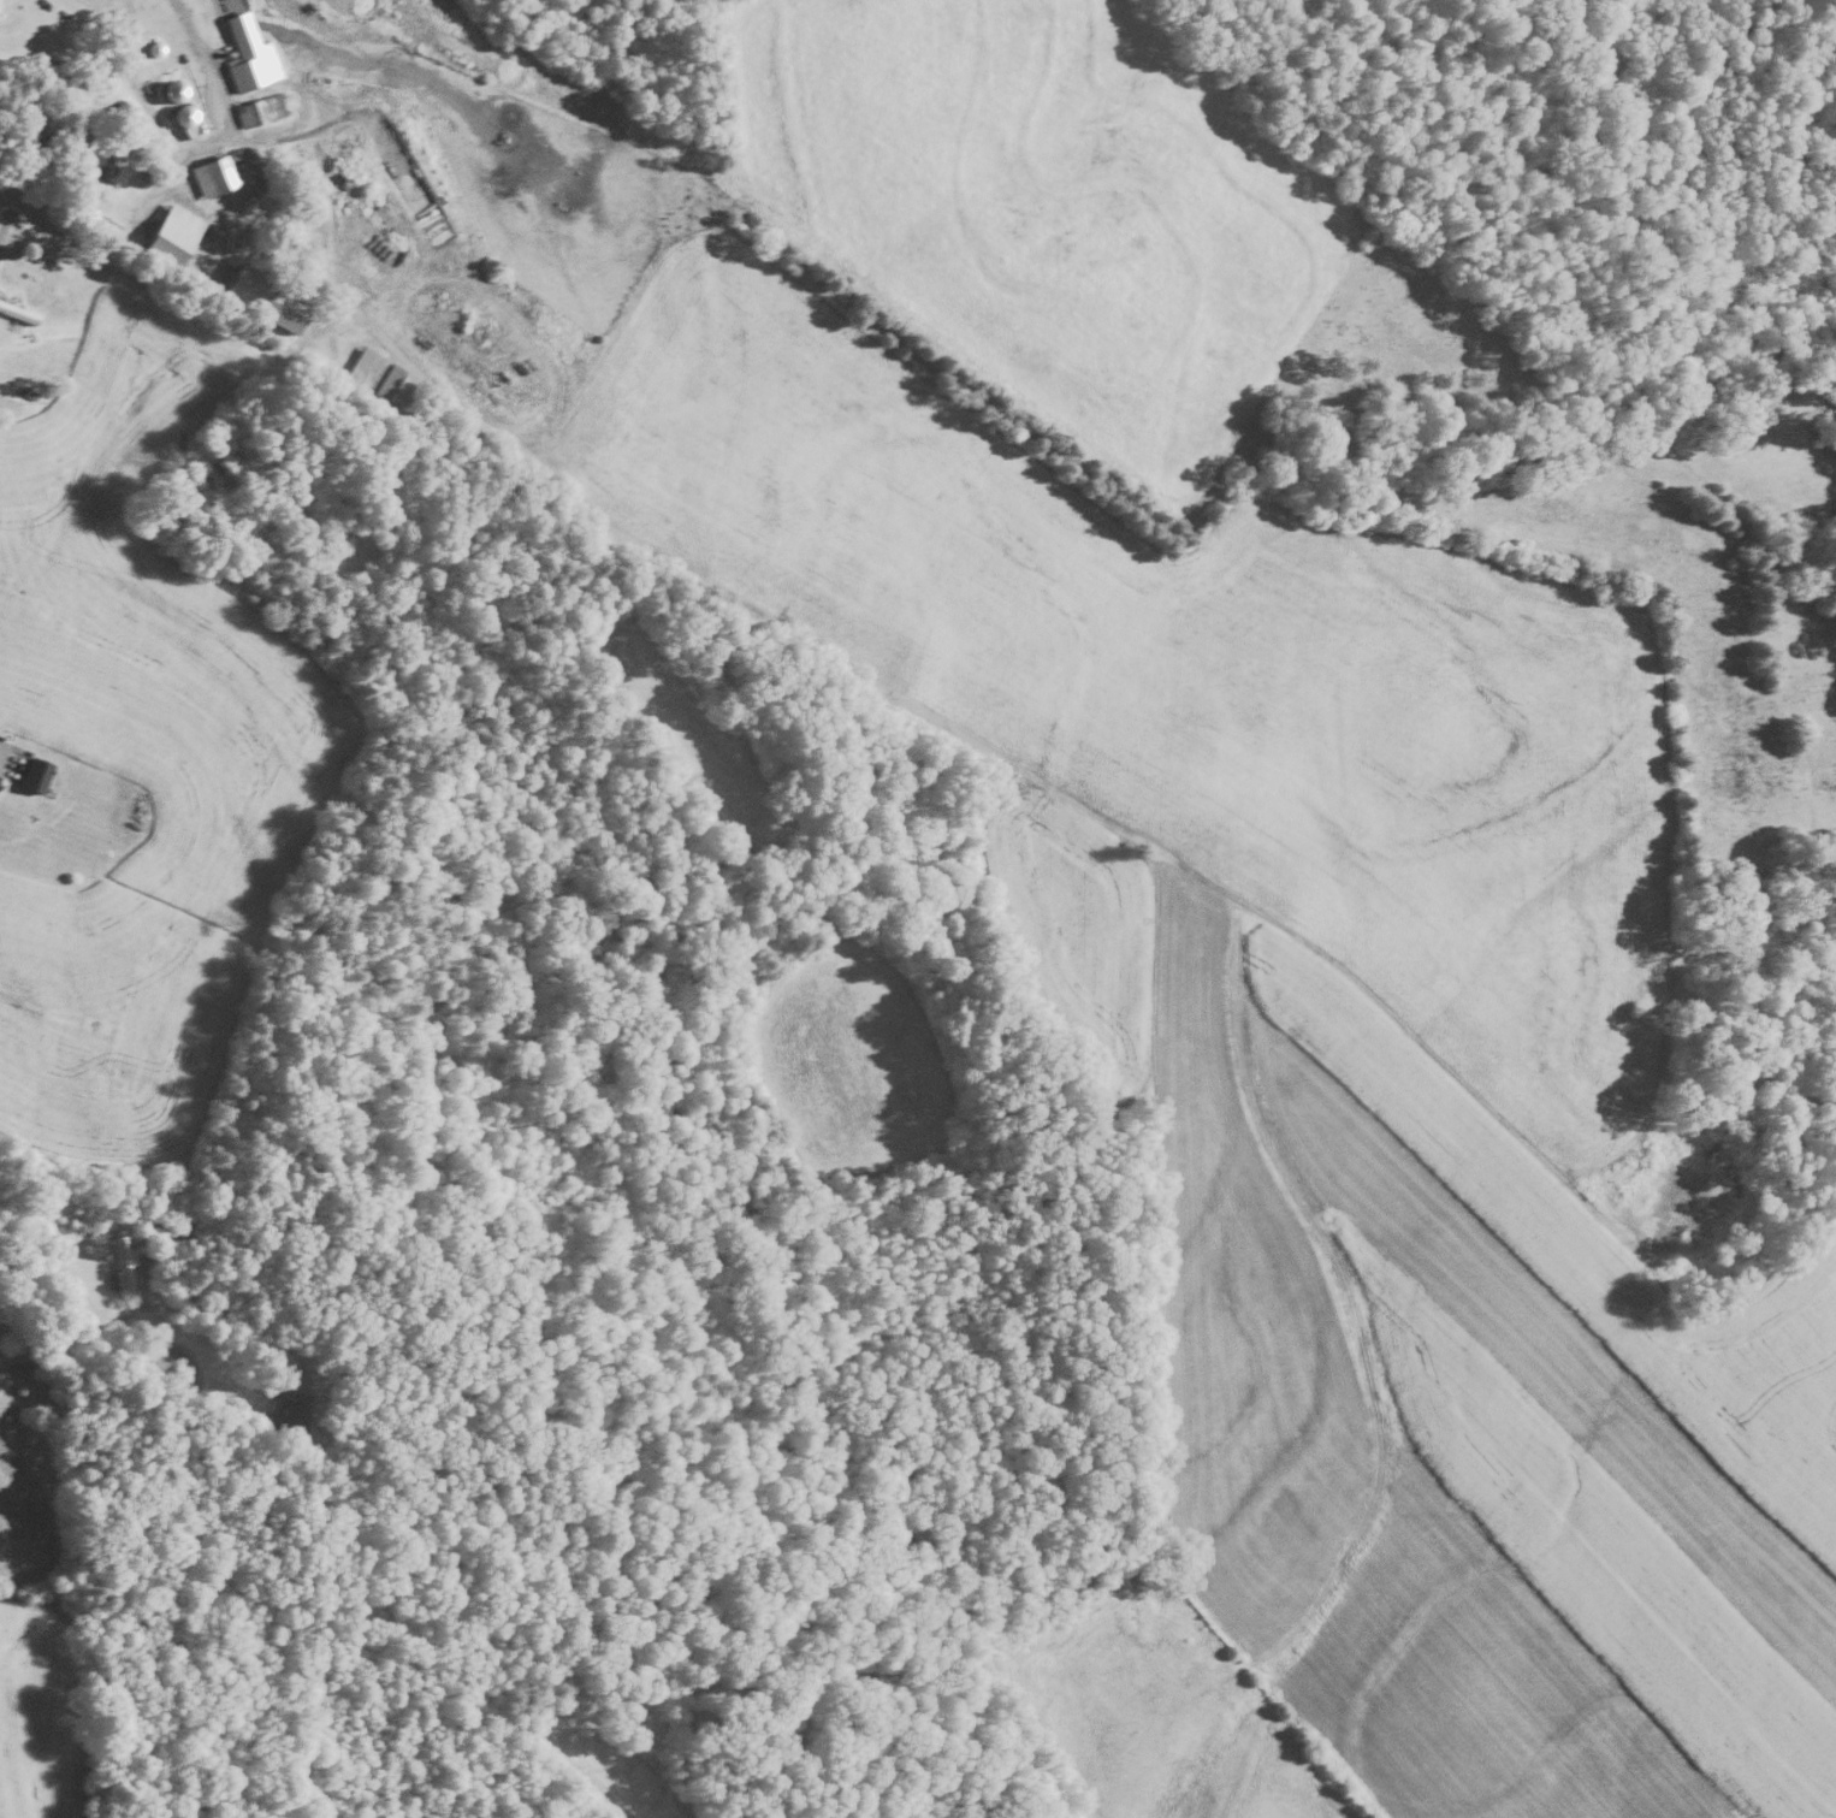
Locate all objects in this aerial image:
building: (245, 53)
building: (257, 107)
road: (188, 143)
building: (215, 171)
road: (2, 215)
building: (166, 232)
building: (255, 296)
building: (17, 312)
building: (371, 369)
road: (895, 693)
building: (31, 774)
road: (158, 1304)
building: (291, 1410)

